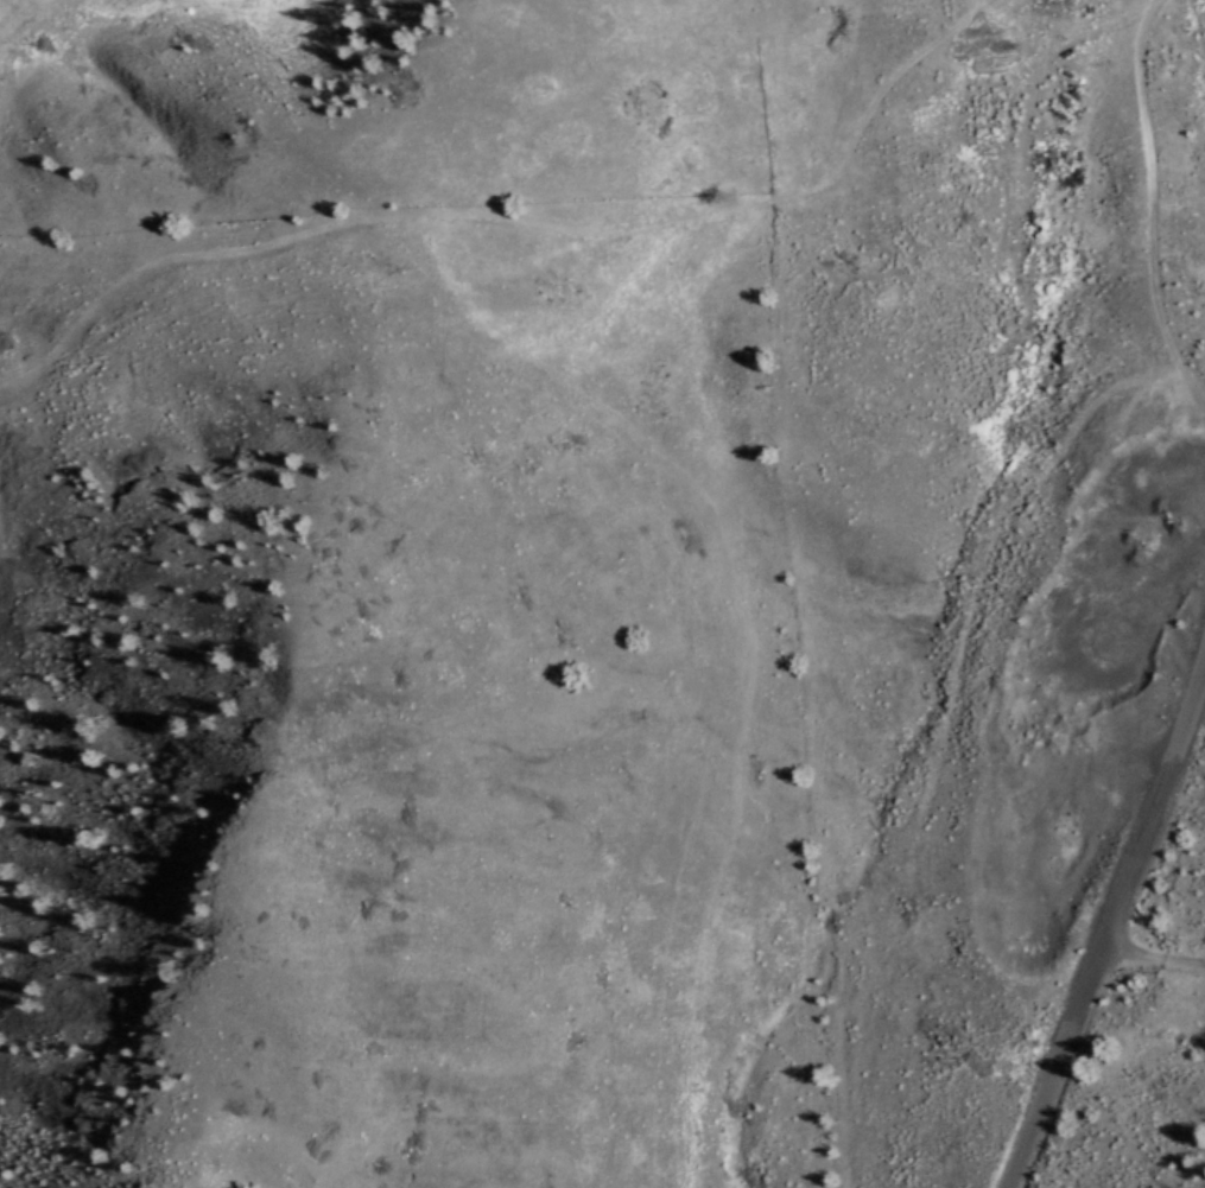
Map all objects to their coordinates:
road: (1095, 897)

